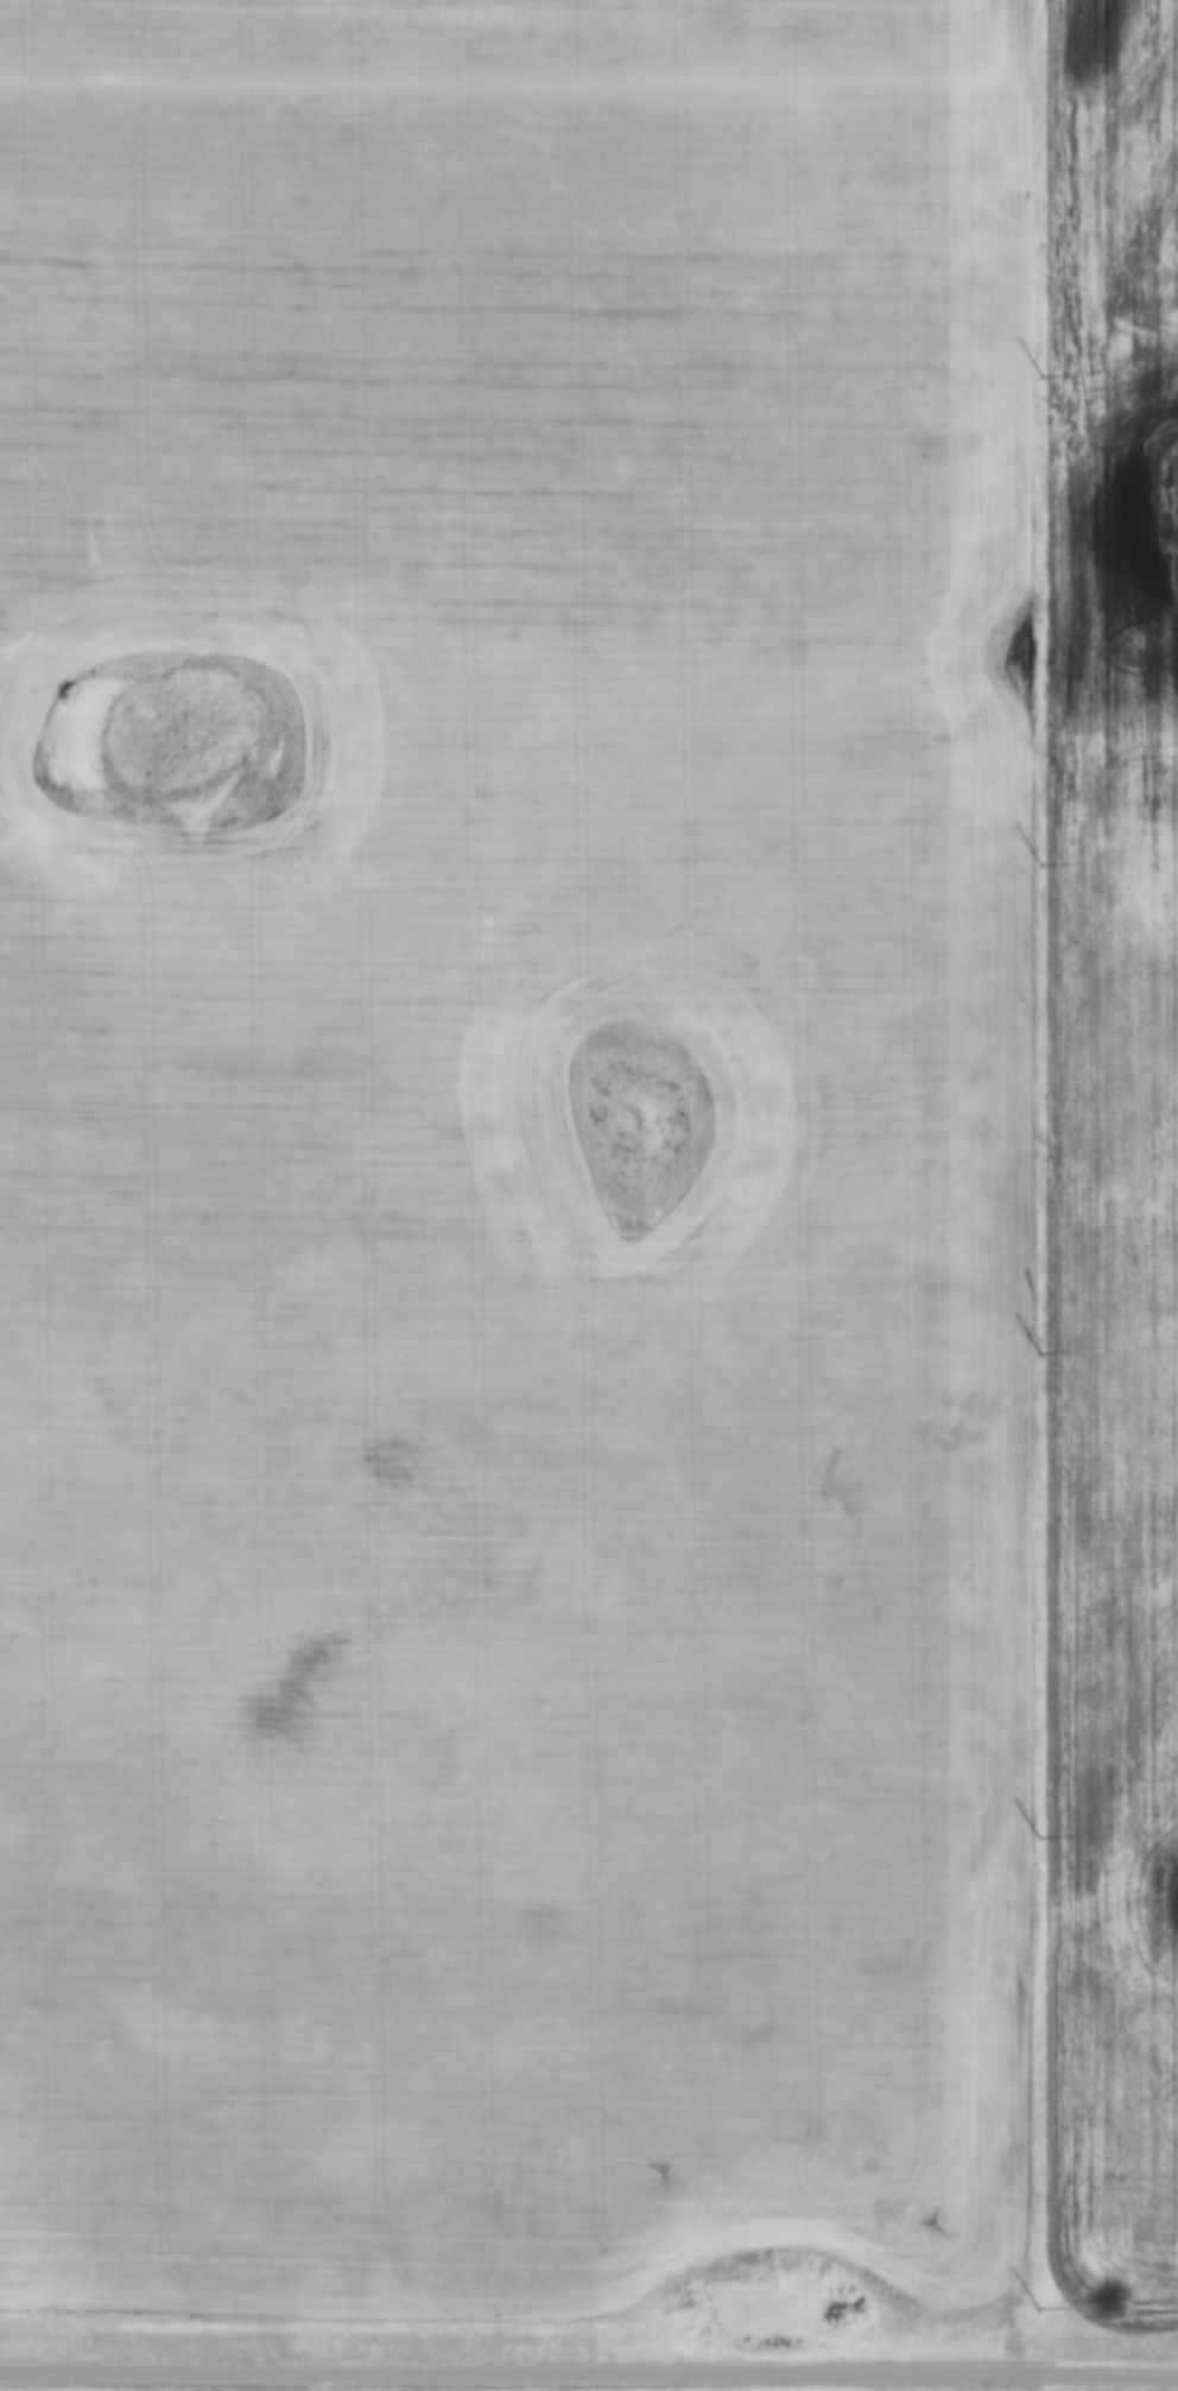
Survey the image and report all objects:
road: (589, 2368)

